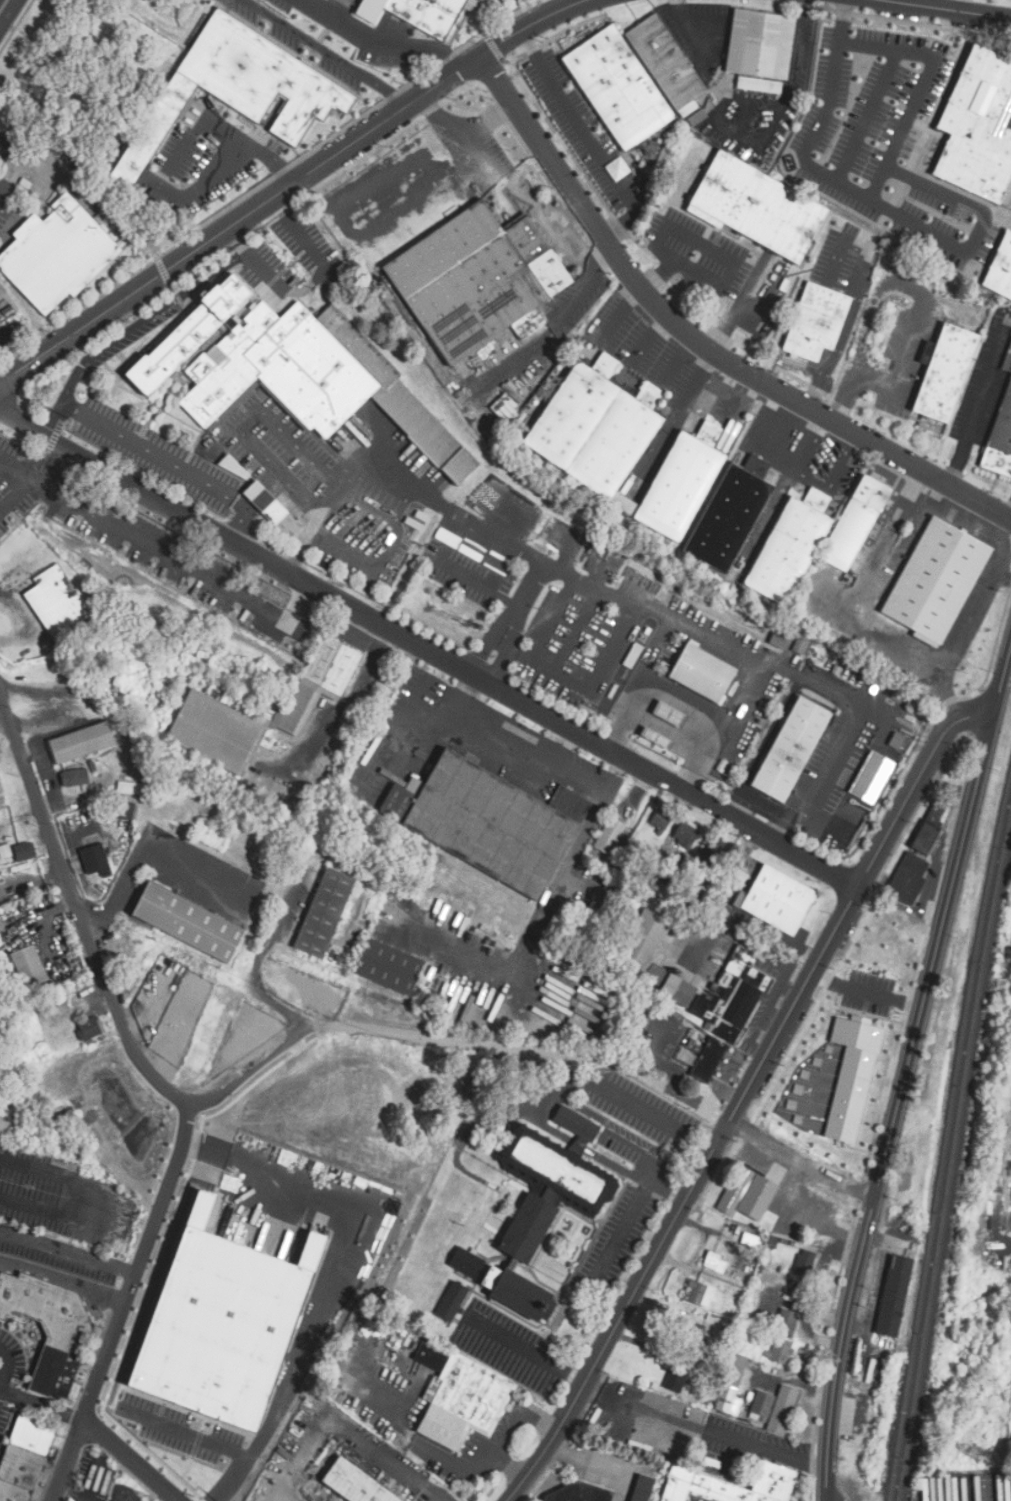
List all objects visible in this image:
road: (963, 7)
road: (939, 10)
road: (7, 11)
building: (418, 13)
road: (842, 23)
road: (690, 32)
road: (377, 43)
building: (761, 44)
road: (802, 46)
road: (328, 53)
building: (665, 64)
building: (262, 75)
building: (759, 84)
building: (616, 89)
road: (442, 116)
road: (863, 121)
road: (722, 128)
building: (153, 130)
building: (976, 132)
road: (590, 137)
road: (476, 149)
road: (223, 158)
road: (11, 177)
road: (291, 186)
road: (877, 186)
road: (1, 192)
building: (757, 207)
road: (983, 231)
road: (569, 233)
road: (236, 241)
building: (57, 253)
road: (604, 256)
building: (986, 266)
road: (659, 276)
building: (479, 277)
road: (719, 286)
road: (310, 287)
road: (145, 319)
building: (818, 320)
road: (648, 338)
road: (697, 342)
building: (1007, 361)
building: (293, 371)
building: (944, 372)
road: (981, 401)
road: (54, 421)
building: (596, 426)
building: (999, 439)
road: (169, 462)
road: (15, 469)
road: (395, 480)
building: (680, 482)
road: (36, 483)
road: (142, 491)
road: (15, 495)
building: (274, 509)
building: (729, 513)
building: (853, 524)
road: (136, 537)
building: (788, 548)
building: (936, 582)
building: (57, 602)
road: (517, 605)
road: (649, 610)
building: (778, 639)
road: (656, 651)
building: (701, 673)
road: (832, 690)
road: (680, 703)
road: (748, 706)
building: (671, 715)
building: (217, 729)
road: (572, 731)
building: (81, 742)
building: (789, 750)
building: (74, 777)
building: (872, 777)
road: (762, 809)
building: (124, 810)
building: (488, 820)
building: (661, 820)
building: (928, 828)
building: (685, 834)
building: (609, 835)
building: (5, 850)
building: (24, 851)
building: (711, 851)
building: (95, 859)
building: (908, 878)
road: (123, 885)
building: (776, 900)
building: (324, 912)
building: (190, 922)
building: (652, 958)
building: (29, 966)
building: (389, 967)
road: (260, 973)
road: (103, 980)
road: (865, 992)
building: (89, 1029)
road: (444, 1039)
building: (708, 1060)
road: (905, 1072)
building: (852, 1076)
road: (622, 1091)
road: (745, 1093)
building: (8, 1126)
road: (614, 1128)
railway: (947, 1137)
road: (579, 1144)
railway: (952, 1159)
road: (802, 1160)
road: (617, 1166)
road: (1000, 1182)
building: (746, 1197)
road: (83, 1199)
building: (545, 1203)
road: (620, 1235)
road: (68, 1252)
building: (466, 1262)
building: (715, 1262)
building: (804, 1263)
road: (337, 1282)
building: (698, 1293)
building: (891, 1296)
building: (450, 1301)
road: (125, 1302)
building: (786, 1322)
building: (47, 1324)
building: (225, 1324)
road: (526, 1350)
building: (779, 1350)
road: (10, 1369)
building: (676, 1378)
road: (2, 1385)
building: (732, 1387)
building: (459, 1399)
road: (42, 1405)
building: (774, 1408)
road: (704, 1429)
road: (185, 1434)
road: (506, 1434)
road: (356, 1437)
power tower: (979, 1452)
building: (25, 1459)
road: (442, 1460)
road: (127, 1461)
road: (602, 1466)
road: (94, 1480)
building: (357, 1482)
building: (728, 1485)
building: (642, 1488)
building: (577, 1493)
road: (169, 1500)
road: (441, 1500)
road: (442, 1500)

